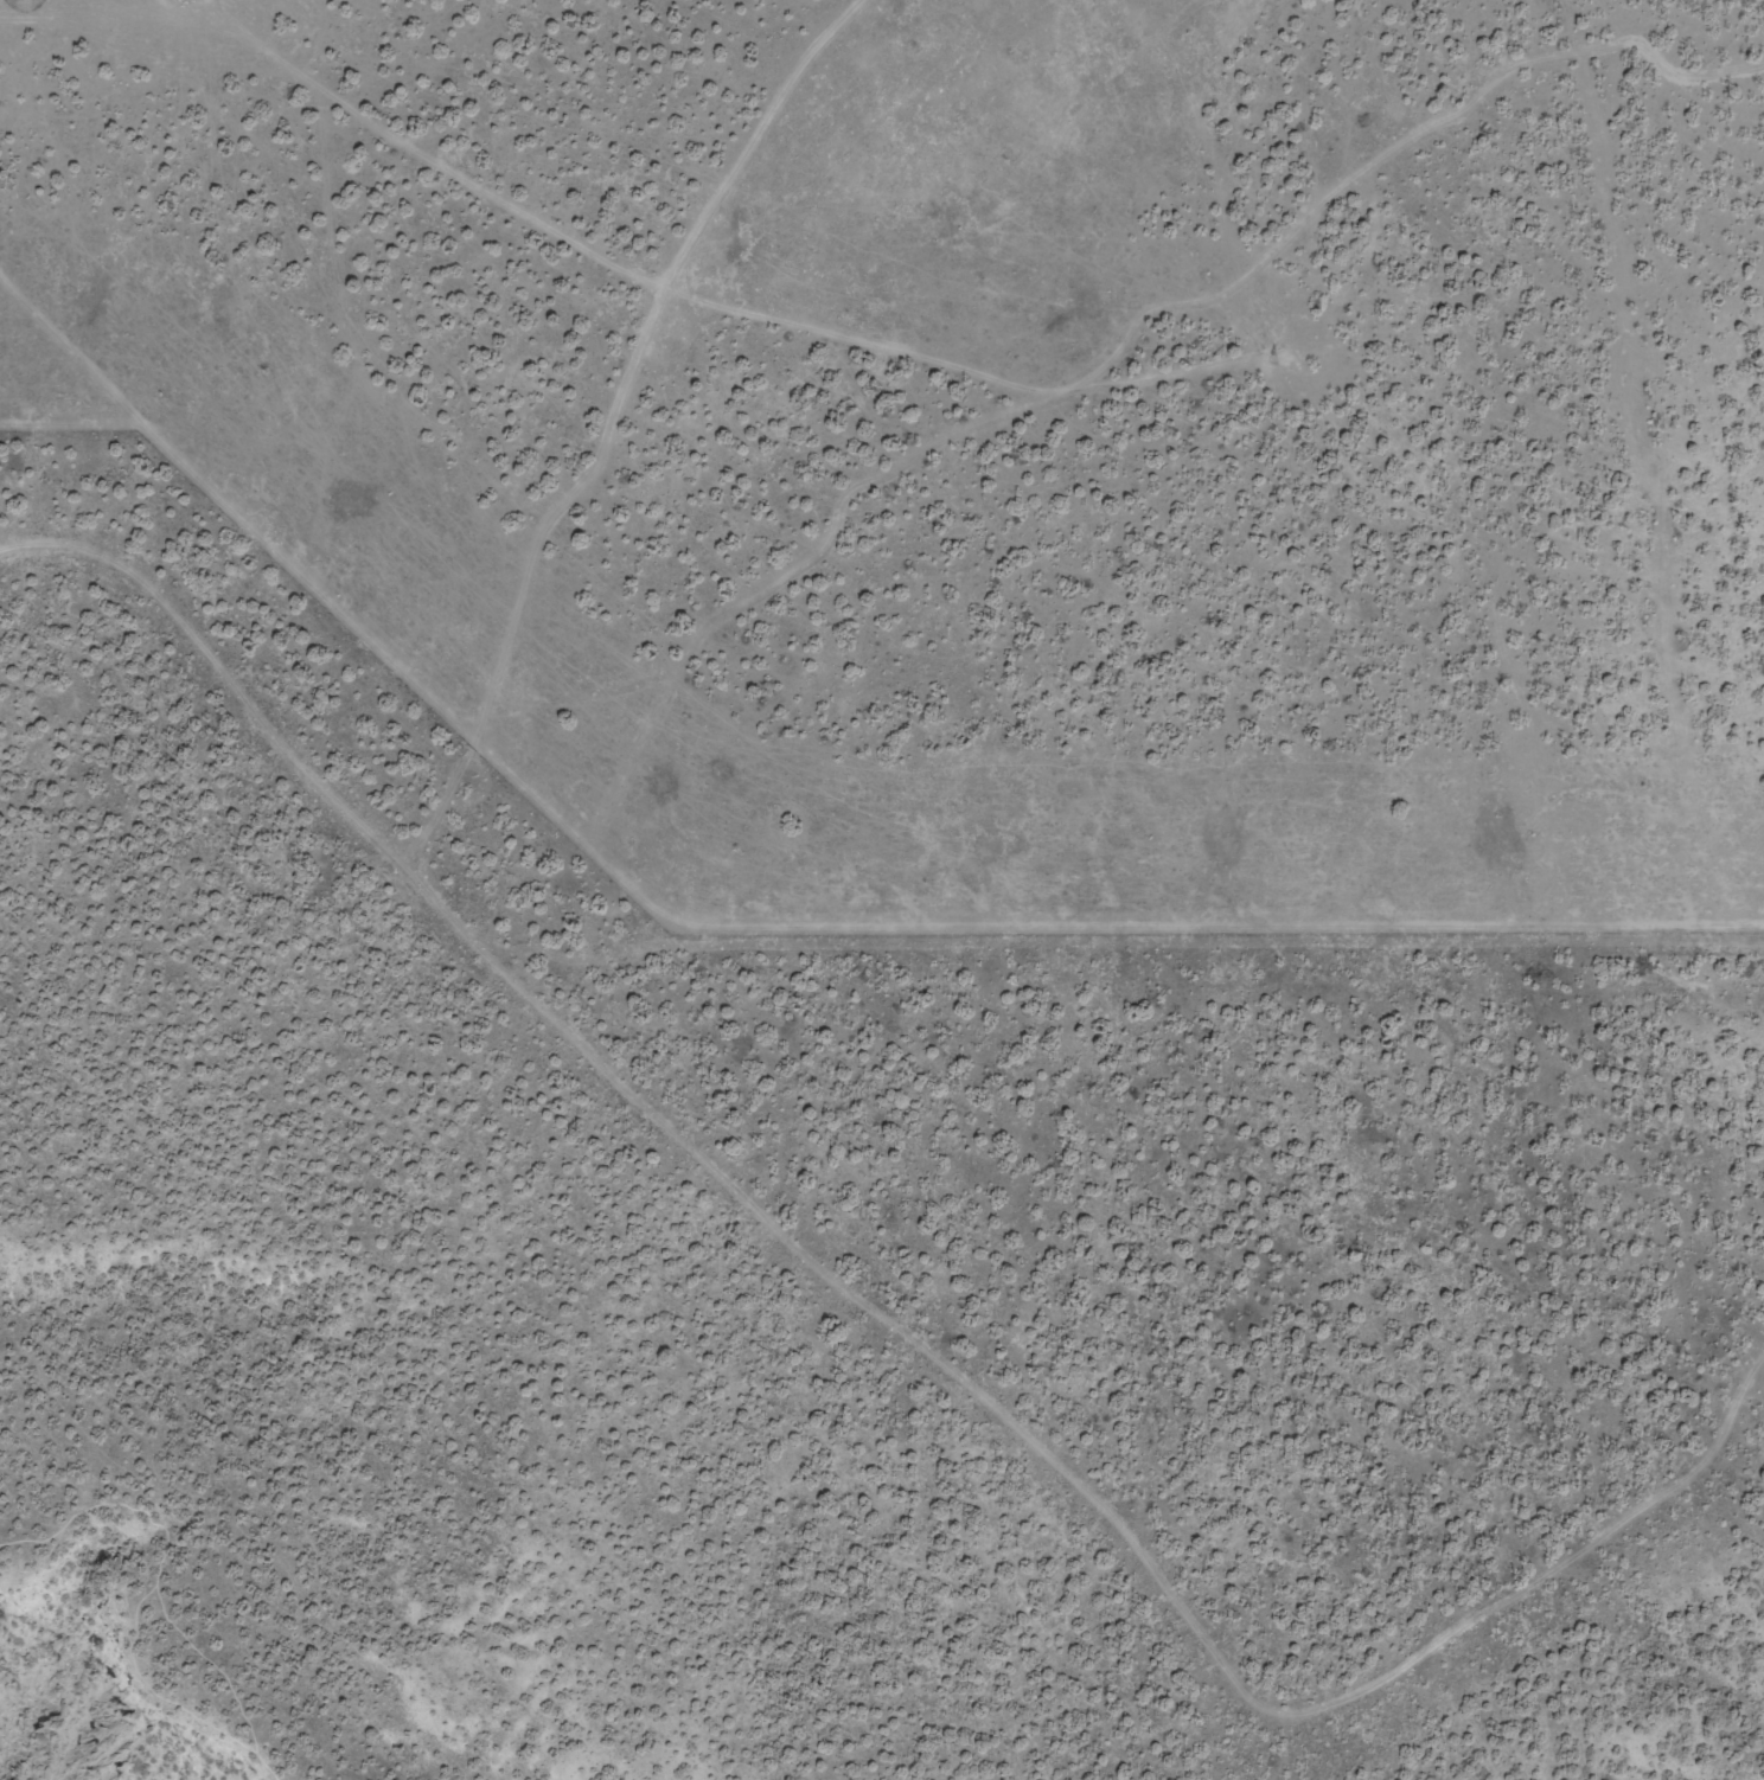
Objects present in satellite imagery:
road: (874, 1308)
road: (143, 1597)
road: (1277, 1748)

